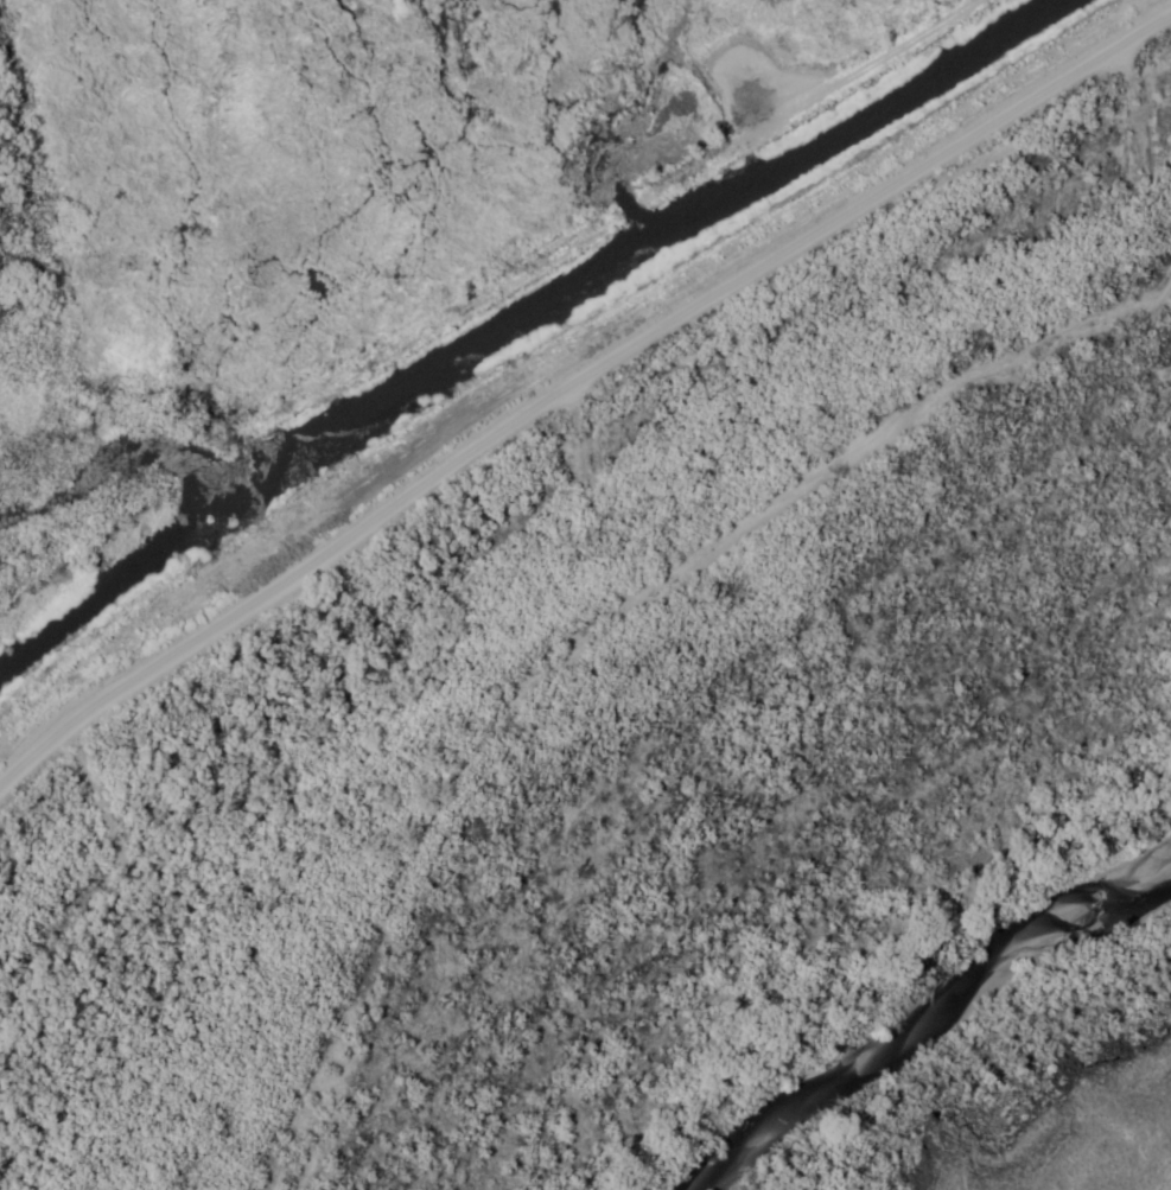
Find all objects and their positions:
road: (804, 97)
road: (577, 387)
river: (924, 1016)

